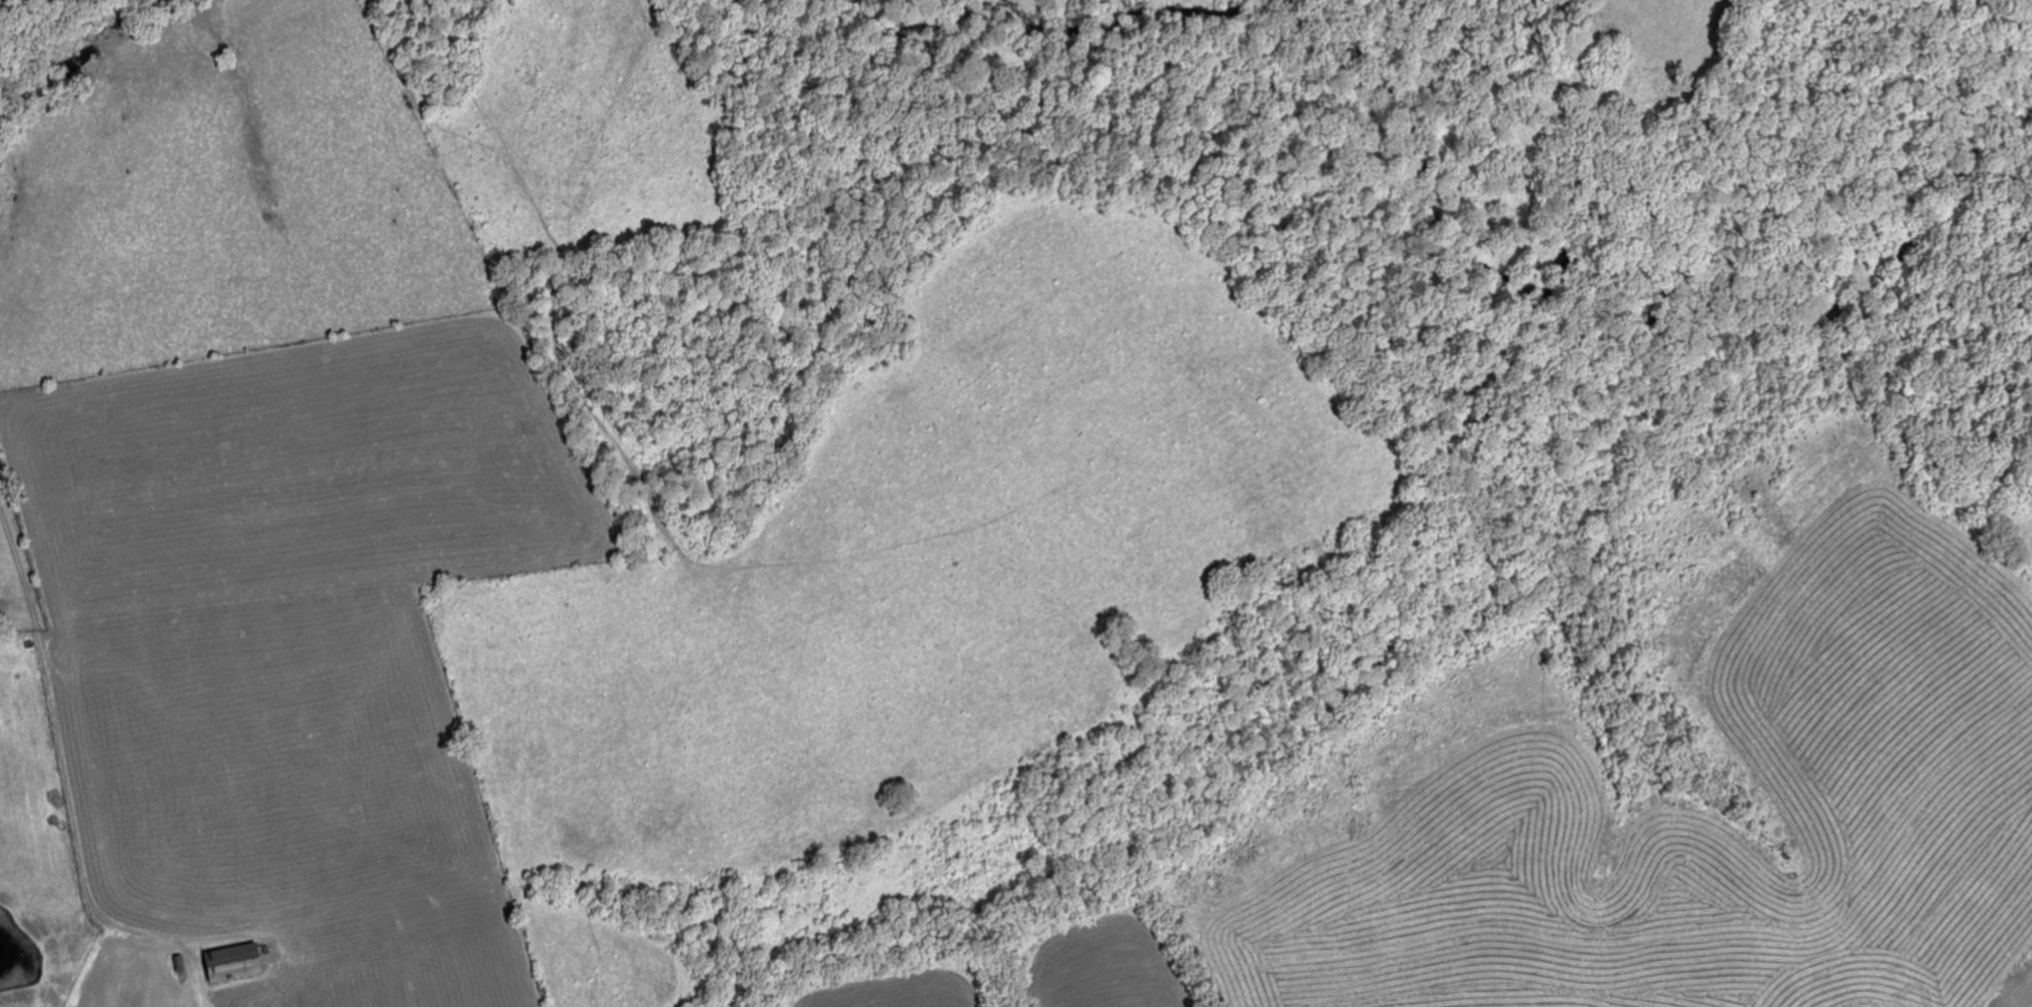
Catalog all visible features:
building: (233, 962)

